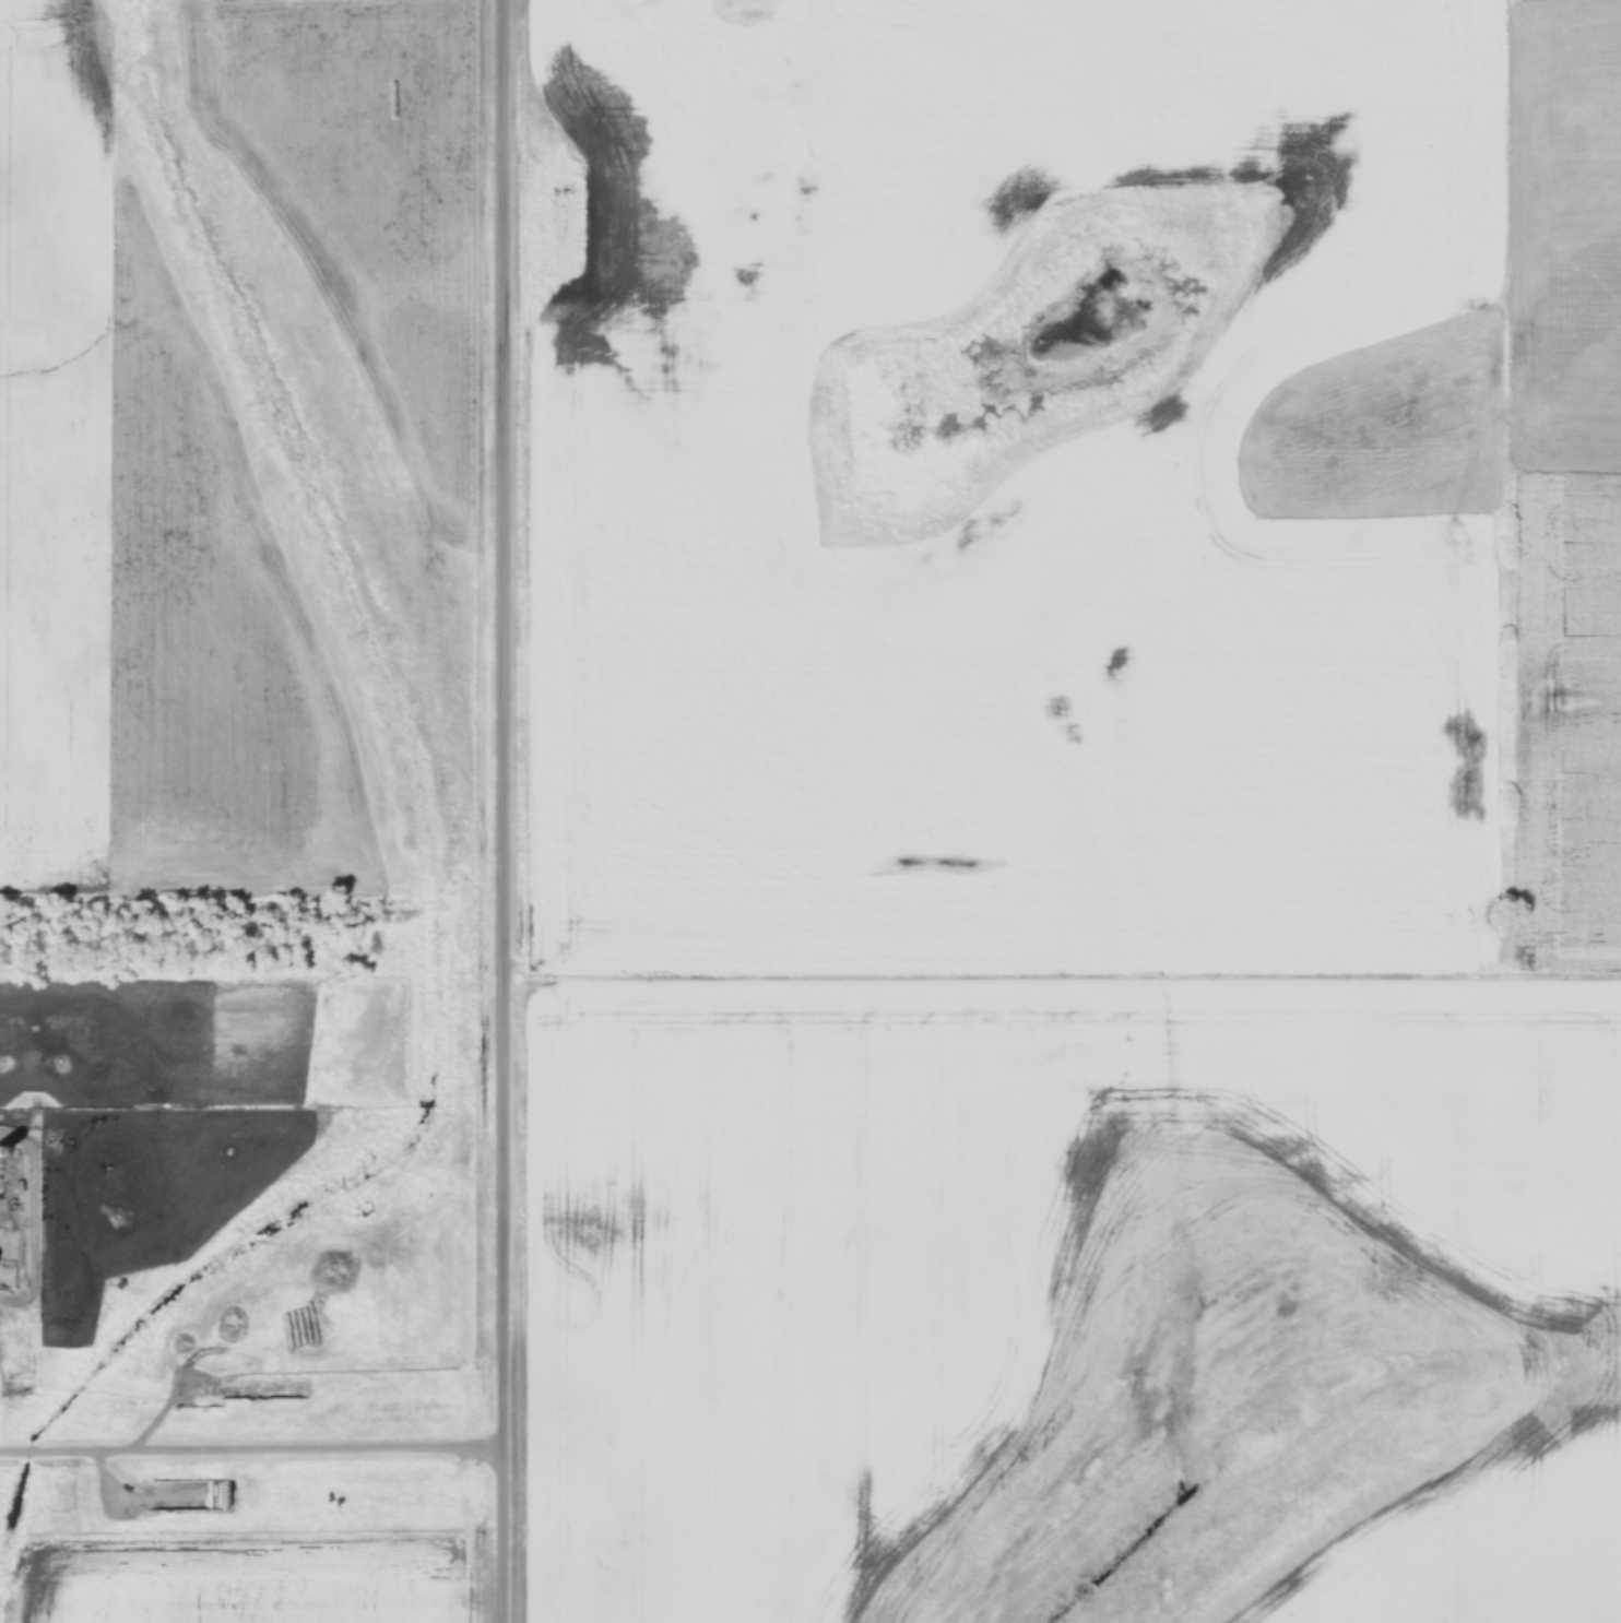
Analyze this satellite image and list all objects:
road: (499, 811)
road: (25, 1221)
road: (249, 1449)

